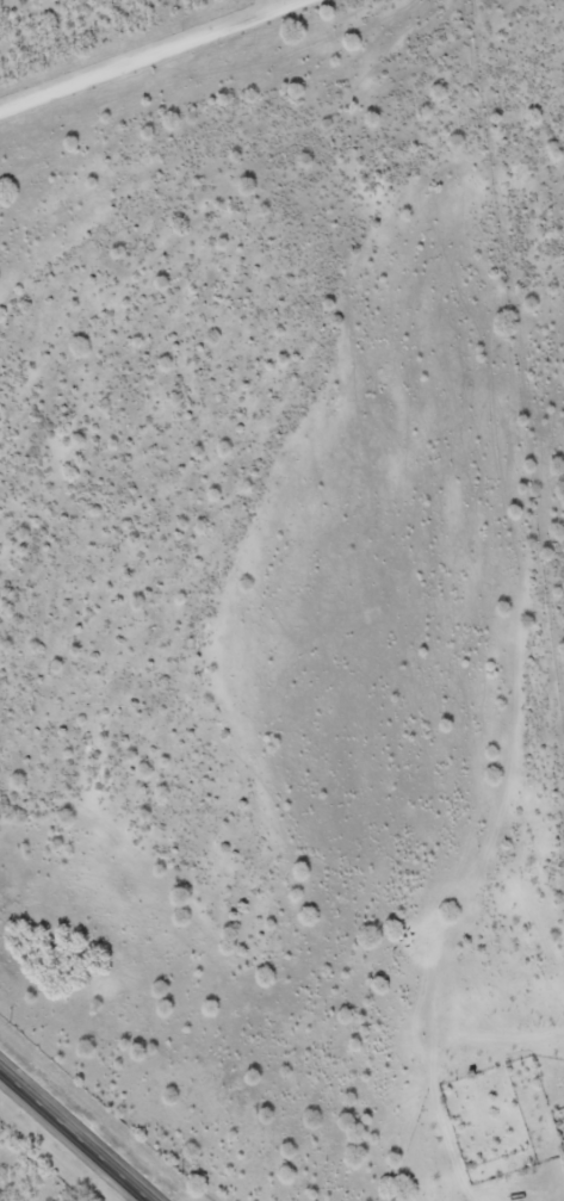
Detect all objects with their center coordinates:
railway: (123, 1090)
road: (78, 1132)

